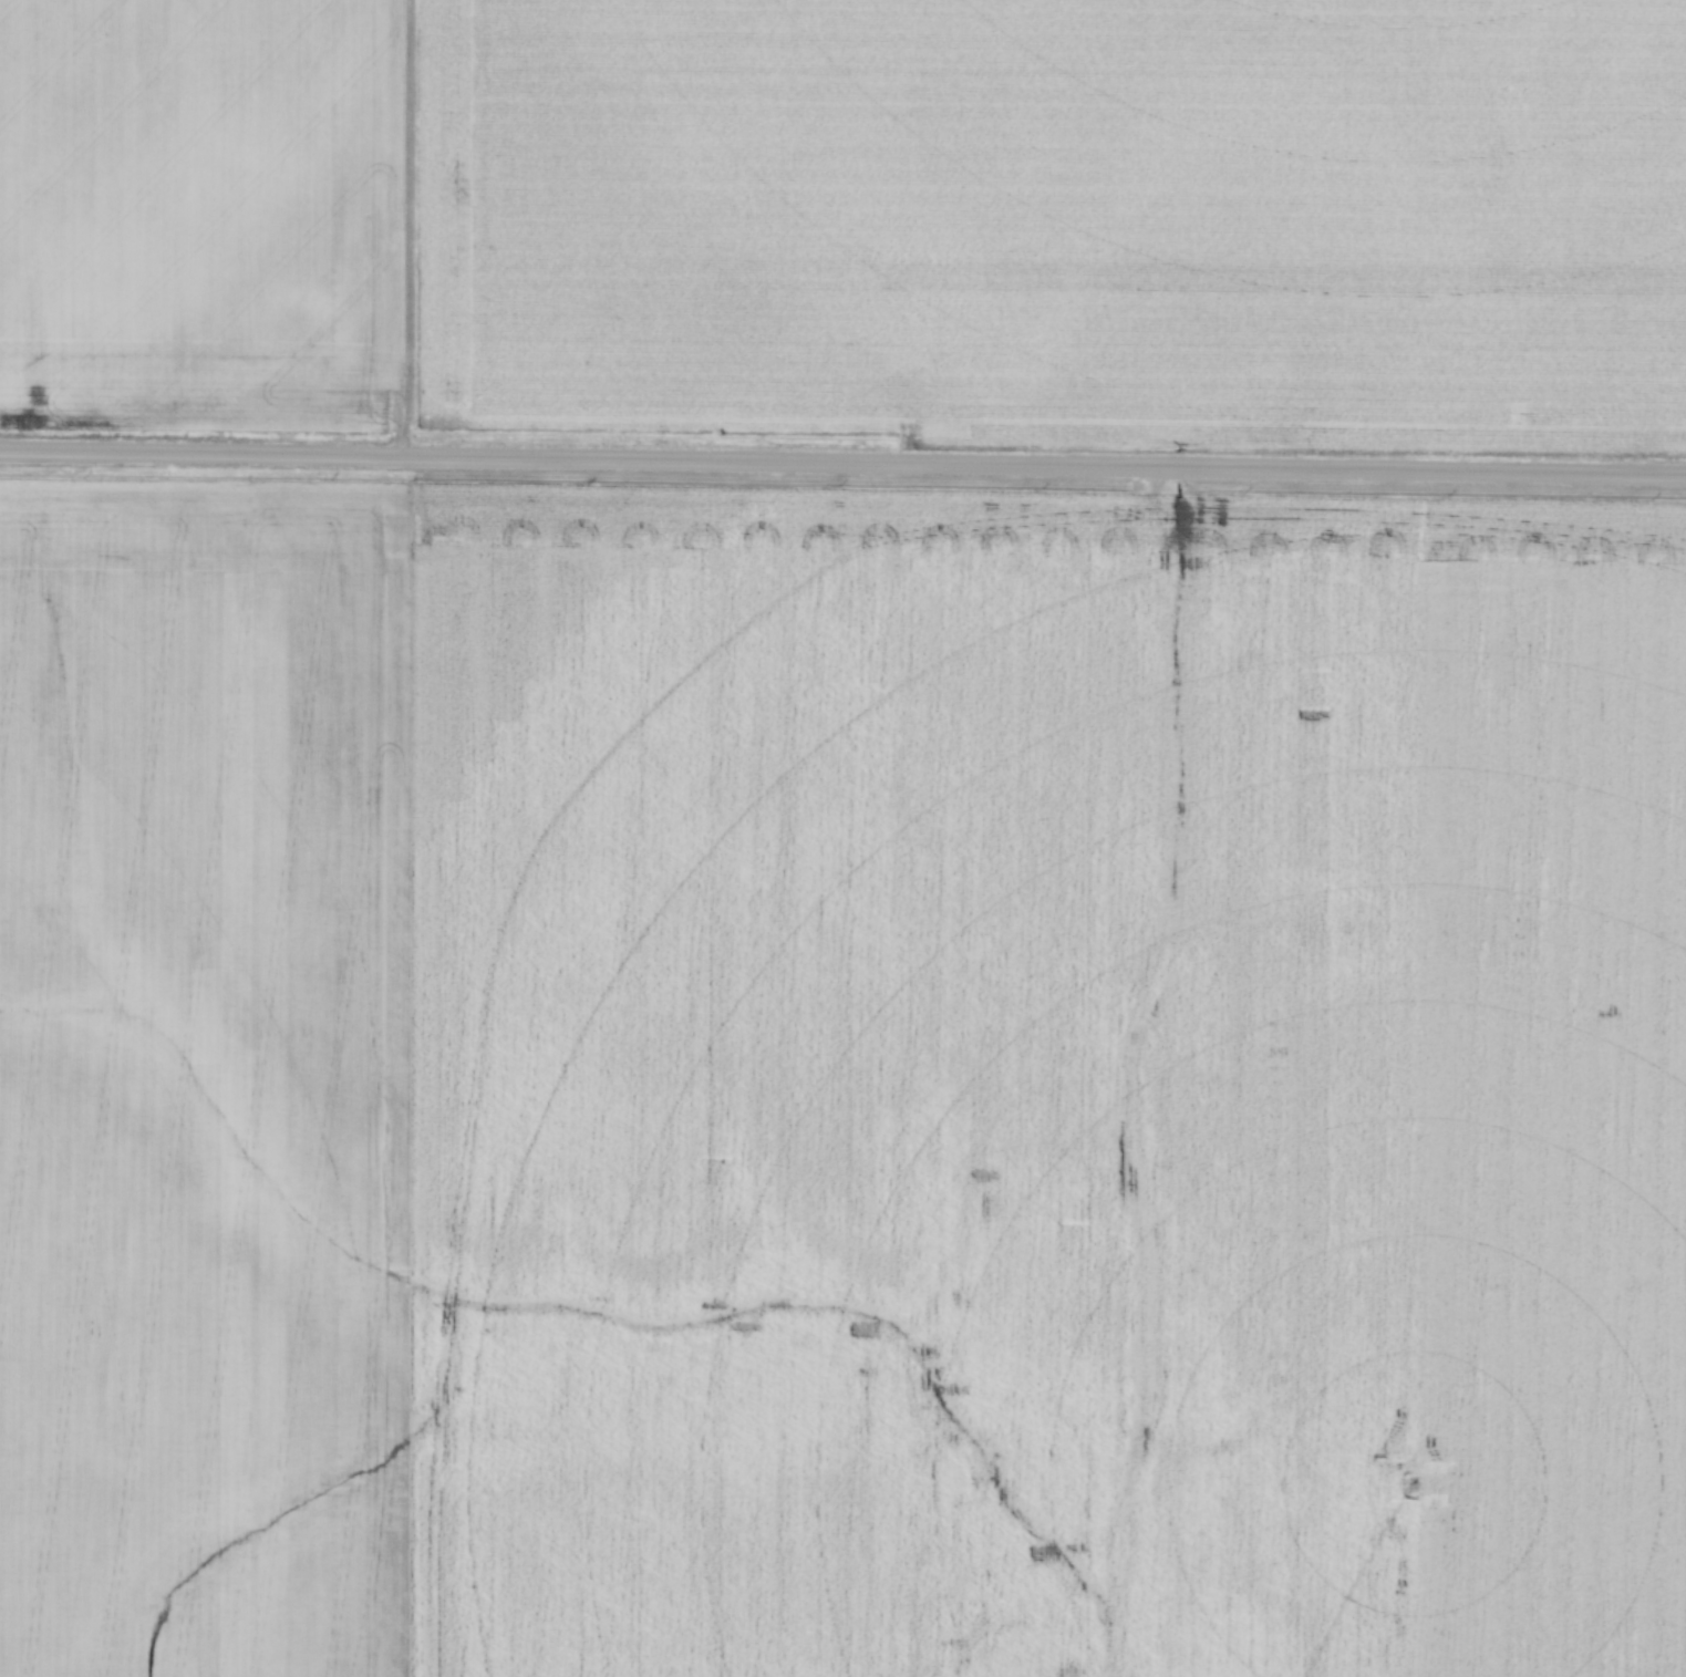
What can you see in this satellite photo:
road: (842, 467)

